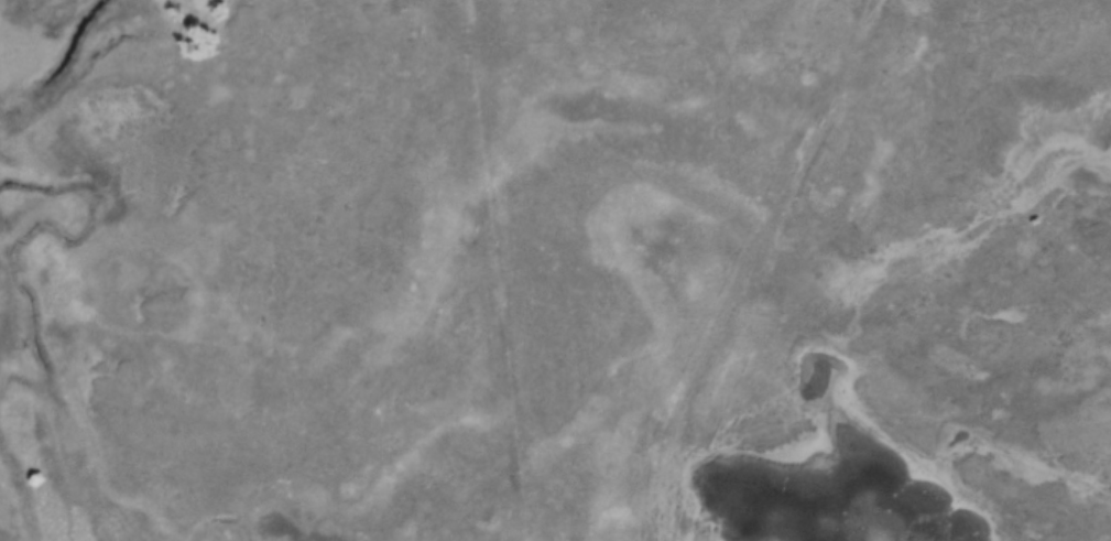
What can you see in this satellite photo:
road: (753, 266)

